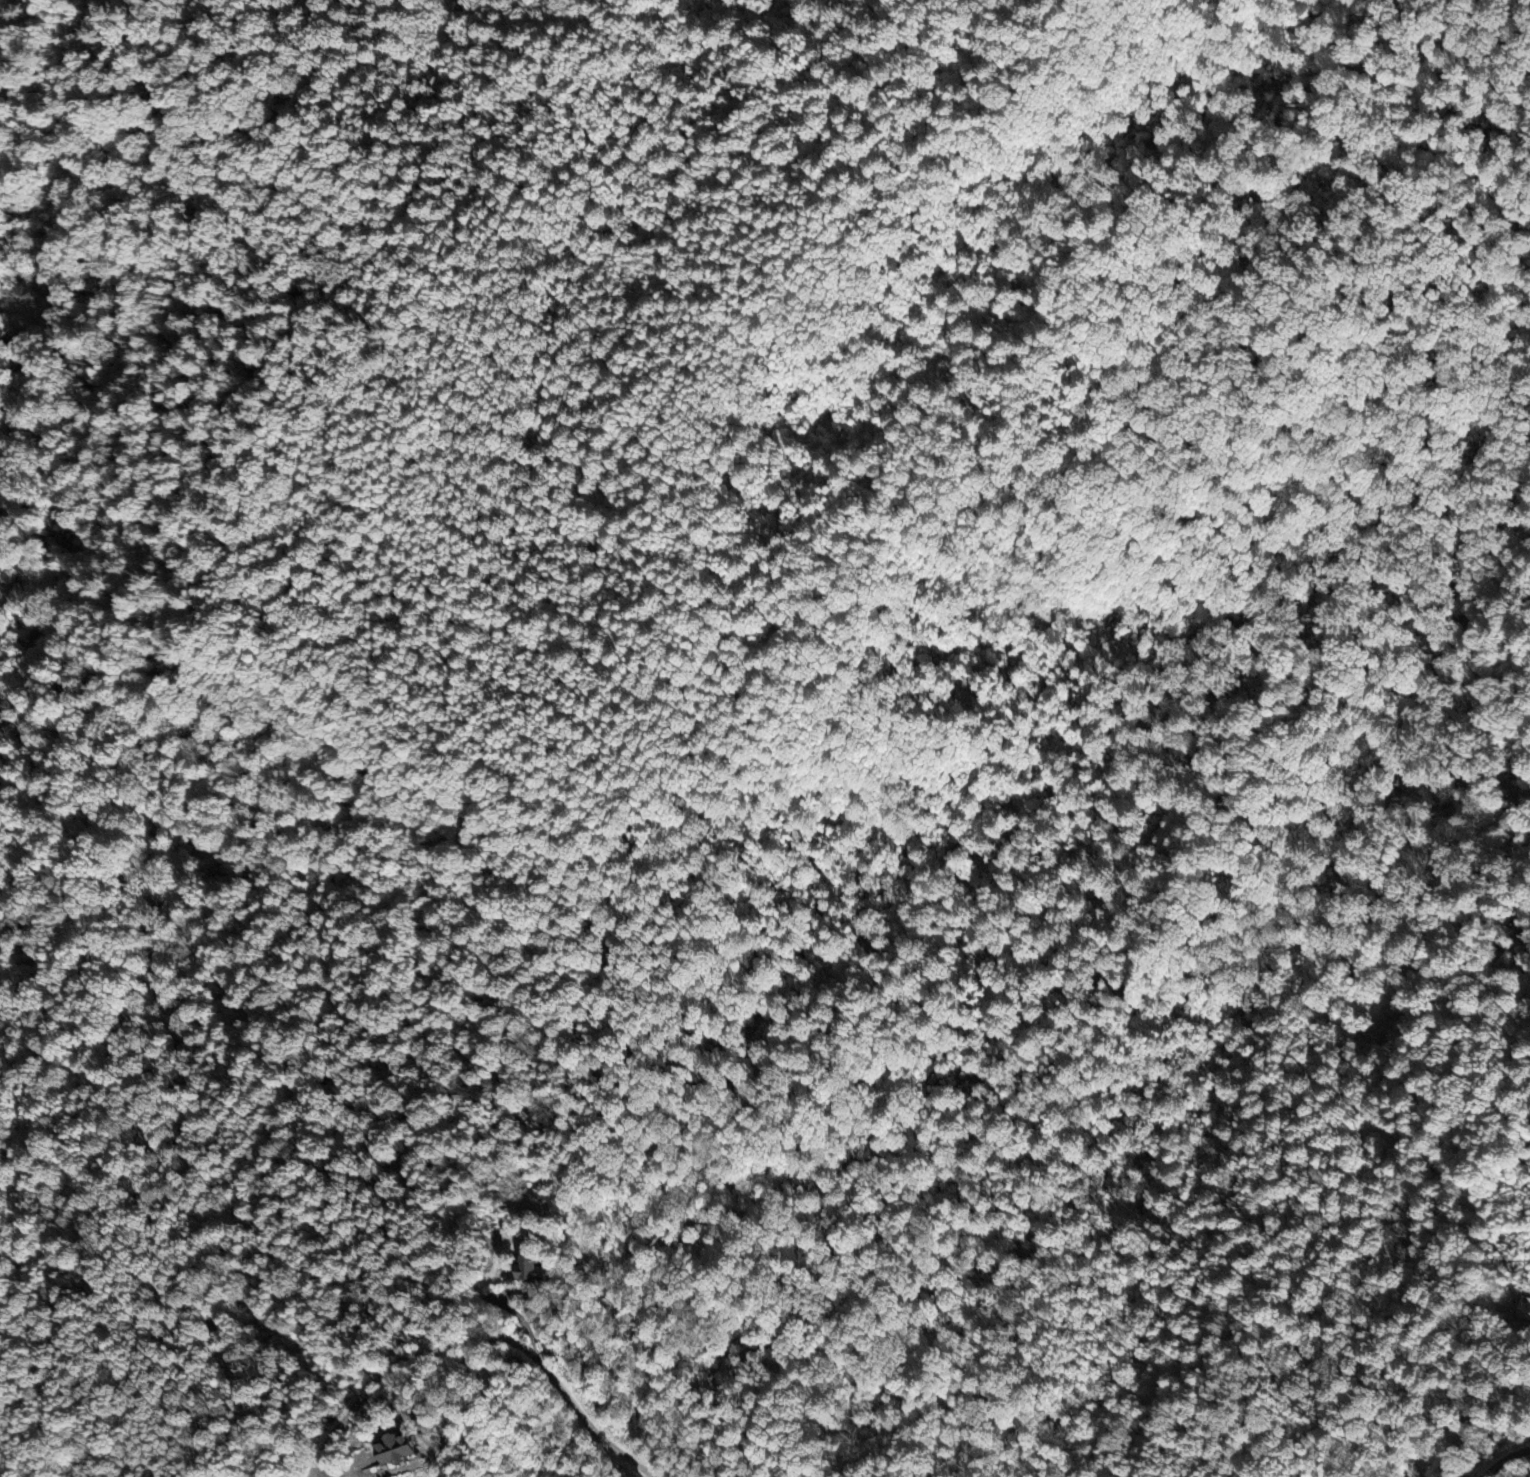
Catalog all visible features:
building: (532, 1269)
building: (1525, 1308)
road: (480, 1332)
road: (1505, 1461)

